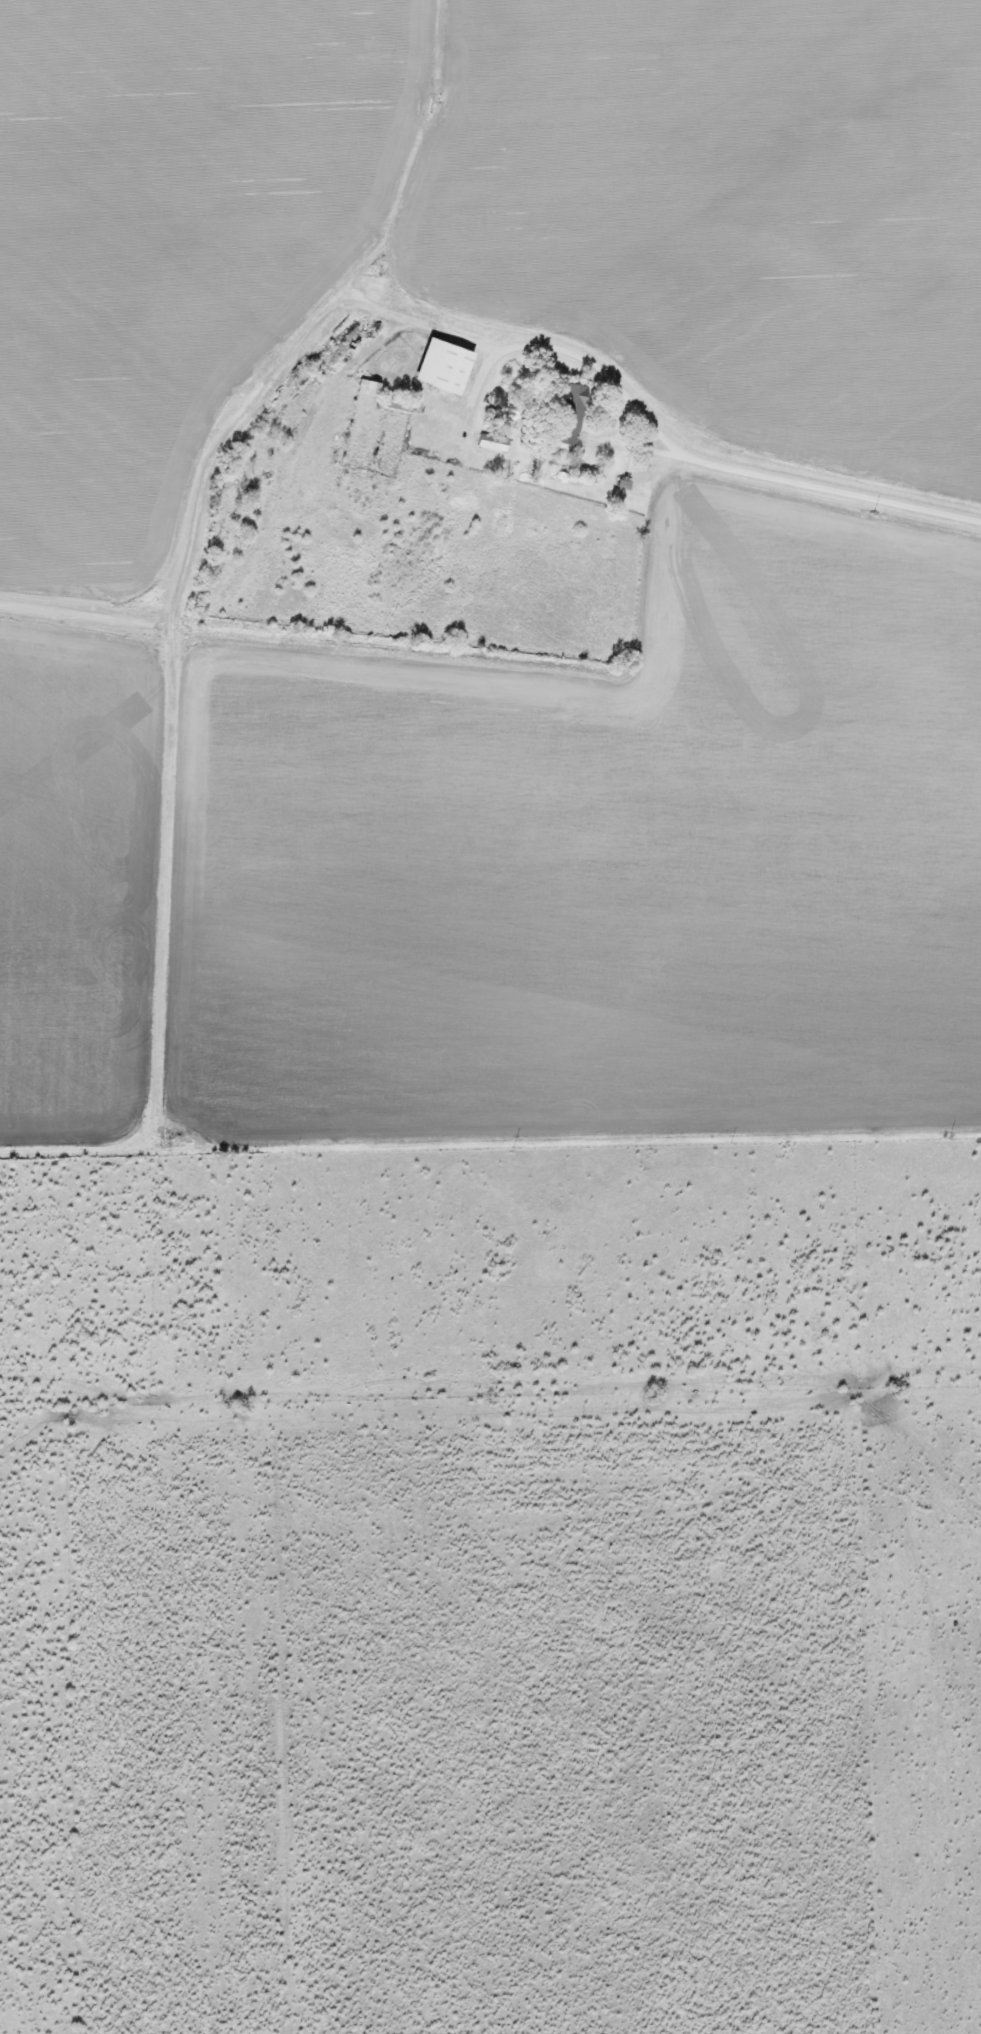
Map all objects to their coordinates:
road: (572, 353)
building: (441, 366)
building: (567, 414)
building: (490, 443)
road: (828, 488)

